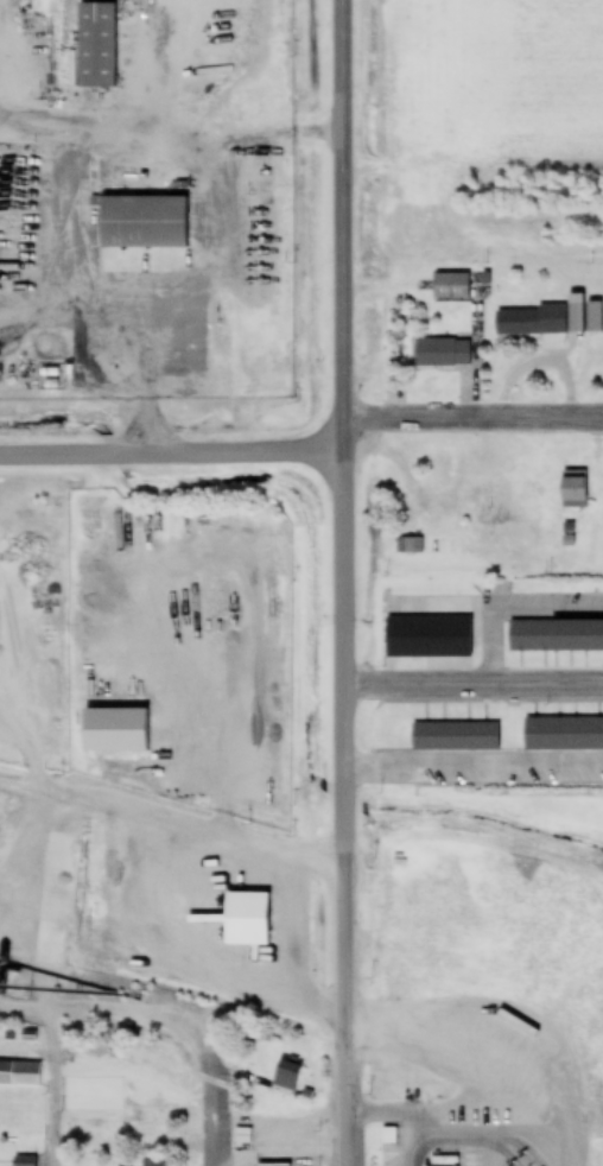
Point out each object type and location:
building: (94, 47)
crop: (528, 78)
road: (171, 140)
building: (141, 224)
building: (451, 287)
building: (532, 323)
building: (443, 355)
road: (301, 445)
building: (440, 469)
building: (573, 490)
building: (411, 546)
road: (344, 583)
building: (556, 636)
building: (430, 638)
road: (474, 685)
building: (114, 729)
building: (563, 734)
building: (455, 736)
road: (172, 824)
building: (246, 919)
road: (118, 1008)
building: (25, 1075)
building: (285, 1081)
road: (55, 1086)
road: (209, 1115)
building: (142, 1135)
building: (388, 1136)
road: (456, 1138)
building: (24, 1162)
building: (153, 1162)
building: (439, 1162)

